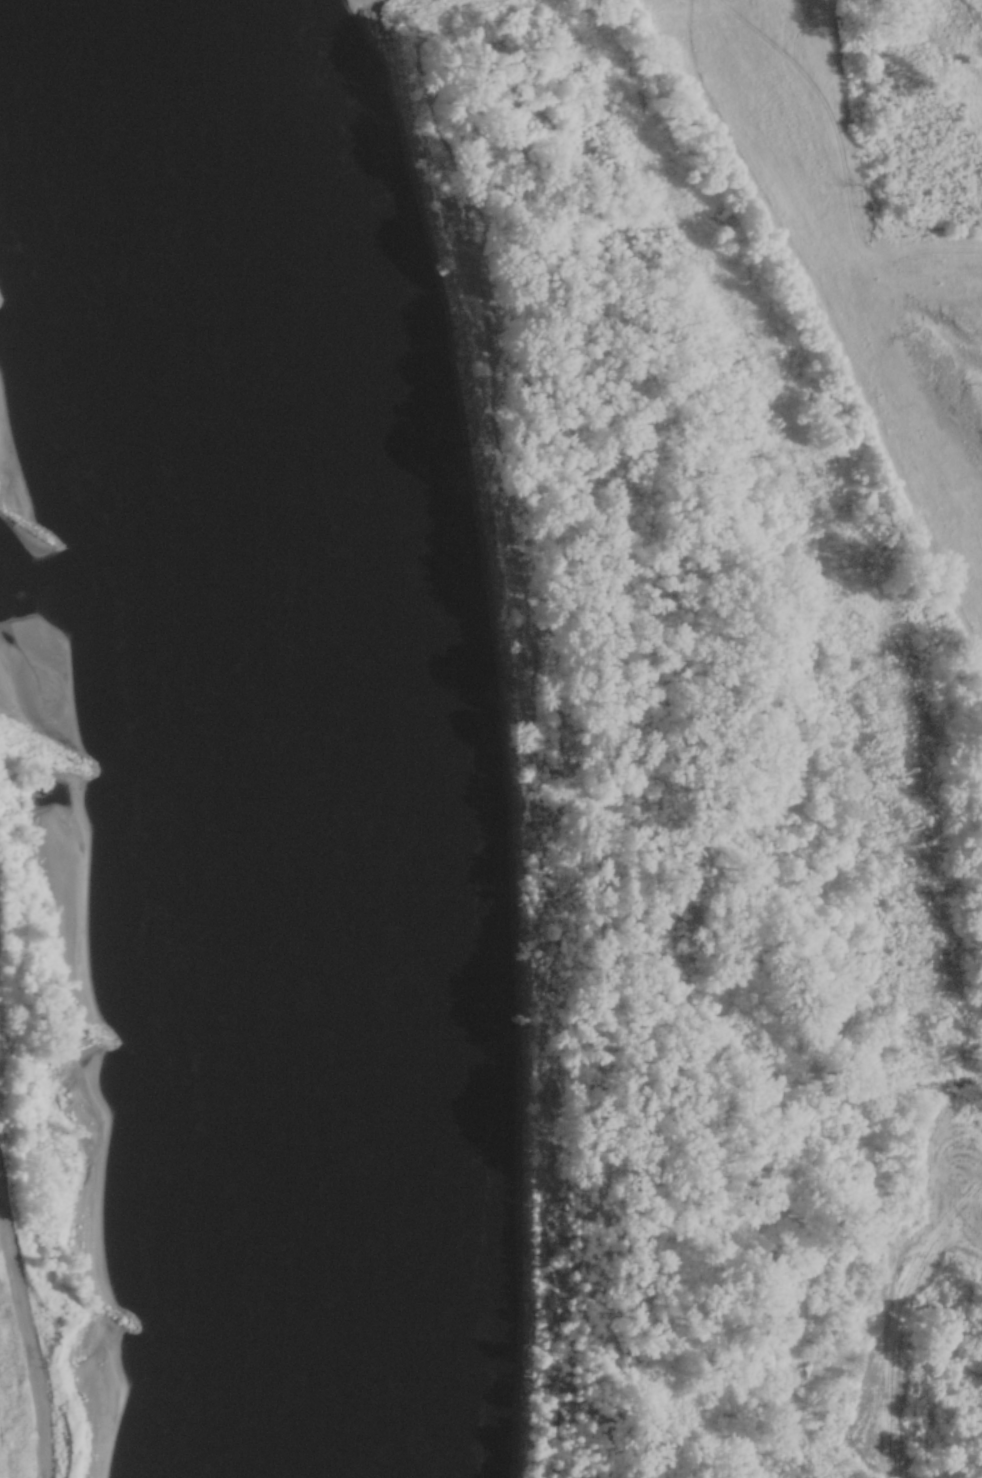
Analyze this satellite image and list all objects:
river: (286, 724)
road: (35, 1327)

